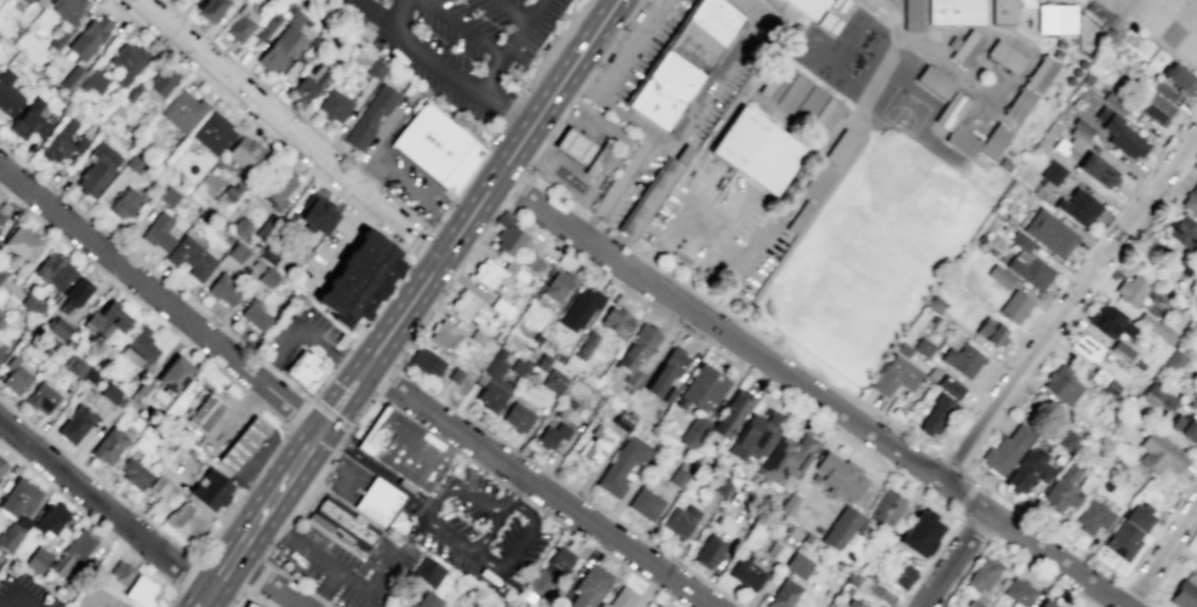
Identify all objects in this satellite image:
building: (28, 0)
building: (808, 6)
building: (65, 8)
road: (515, 8)
building: (210, 10)
building: (1096, 10)
building: (953, 11)
building: (1002, 11)
road: (363, 15)
building: (912, 15)
building: (292, 17)
building: (1055, 18)
building: (240, 24)
building: (267, 25)
road: (462, 28)
building: (89, 36)
parking lot: (456, 44)
road: (547, 44)
parking lot: (638, 45)
building: (297, 46)
road: (509, 46)
building: (965, 47)
building: (279, 48)
road: (631, 48)
building: (1004, 56)
building: (127, 59)
building: (683, 61)
building: (517, 68)
building: (375, 69)
road: (441, 69)
road: (718, 69)
parking lot: (724, 70)
building: (1041, 73)
building: (1179, 76)
building: (72, 78)
building: (95, 80)
building: (161, 81)
road: (256, 81)
building: (310, 81)
building: (775, 81)
building: (934, 81)
road: (235, 85)
road: (581, 86)
road: (582, 86)
building: (1162, 90)
building: (7, 93)
building: (791, 93)
building: (1112, 99)
road: (233, 104)
building: (334, 104)
building: (808, 104)
building: (1019, 104)
building: (1153, 108)
building: (182, 110)
road: (512, 110)
building: (950, 110)
building: (369, 116)
building: (825, 116)
building: (28, 120)
road: (632, 121)
building: (1082, 126)
road: (586, 127)
building: (212, 132)
building: (1119, 133)
road: (597, 134)
road: (1174, 137)
road: (381, 139)
building: (961, 141)
building: (992, 141)
building: (61, 142)
building: (1073, 142)
road: (551, 144)
building: (574, 144)
road: (574, 144)
building: (435, 147)
building: (839, 148)
road: (531, 149)
building: (757, 149)
road: (1113, 150)
building: (245, 153)
road: (586, 153)
building: (103, 155)
building: (598, 158)
road: (563, 161)
road: (611, 162)
building: (135, 164)
road: (575, 170)
building: (1096, 170)
road: (363, 172)
building: (1051, 172)
road: (1146, 172)
building: (93, 177)
road: (343, 177)
road: (467, 178)
building: (815, 182)
road: (406, 183)
parking lot: (628, 184)
building: (275, 185)
road: (619, 187)
parking lot: (412, 188)
road: (488, 188)
road: (515, 190)
building: (167, 195)
building: (651, 199)
building: (1190, 199)
building: (125, 202)
road: (401, 206)
building: (1077, 206)
road: (382, 210)
road: (580, 210)
road: (578, 212)
road: (519, 214)
building: (1, 217)
building: (317, 217)
road: (361, 217)
building: (797, 217)
road: (673, 218)
road: (450, 221)
building: (266, 227)
building: (240, 228)
building: (1184, 231)
building: (158, 233)
road: (713, 233)
building: (1049, 233)
building: (507, 234)
road: (343, 240)
road: (388, 241)
building: (1019, 241)
building: (22, 244)
road: (417, 244)
park: (877, 244)
road: (426, 247)
parking lot: (321, 248)
road: (131, 252)
building: (235, 252)
road: (751, 253)
road: (642, 254)
road: (112, 256)
building: (190, 257)
building: (531, 262)
building: (1, 270)
building: (53, 270)
building: (514, 270)
building: (1030, 271)
building: (486, 273)
building: (998, 275)
building: (267, 277)
building: (358, 279)
building: (557, 285)
building: (76, 290)
road: (125, 290)
building: (222, 290)
building: (1130, 290)
building: (463, 303)
building: (32, 304)
road: (375, 305)
road: (1066, 305)
building: (1014, 307)
building: (501, 308)
building: (578, 308)
building: (255, 316)
building: (617, 319)
building: (1, 321)
building: (106, 321)
building: (1108, 321)
road: (716, 327)
building: (1157, 327)
building: (58, 328)
building: (990, 331)
road: (301, 332)
building: (443, 334)
parking lot: (302, 337)
building: (475, 337)
building: (583, 344)
building: (922, 347)
building: (1087, 348)
building: (139, 349)
building: (902, 349)
building: (1121, 349)
building: (1, 351)
road: (232, 353)
building: (637, 353)
building: (962, 360)
road: (338, 362)
building: (542, 362)
building: (424, 363)
building: (1136, 365)
building: (518, 366)
building: (75, 367)
road: (269, 367)
building: (302, 367)
road: (348, 367)
building: (666, 368)
road: (266, 371)
building: (930, 372)
building: (173, 373)
building: (454, 374)
building: (16, 376)
building: (895, 376)
building: (1095, 376)
road: (383, 380)
building: (553, 380)
building: (492, 383)
building: (1061, 384)
building: (950, 385)
building: (142, 388)
building: (703, 388)
building: (1110, 389)
building: (109, 393)
road: (281, 393)
parking lot: (226, 394)
building: (668, 395)
building: (1157, 396)
building: (41, 397)
road: (307, 397)
building: (1193, 402)
building: (564, 407)
road: (246, 411)
road: (297, 411)
road: (332, 411)
building: (204, 412)
road: (329, 412)
building: (731, 412)
building: (935, 413)
building: (517, 417)
road: (232, 418)
building: (622, 420)
road: (260, 422)
building: (75, 423)
road: (236, 423)
road: (420, 425)
road: (34, 426)
building: (1185, 428)
building: (694, 431)
road: (92, 433)
road: (250, 434)
building: (553, 435)
building: (754, 435)
road: (269, 436)
building: (387, 437)
road: (342, 440)
building: (1065, 440)
road: (223, 441)
road: (979, 441)
building: (241, 443)
building: (593, 445)
building: (107, 446)
road: (337, 449)
building: (1005, 449)
road: (235, 452)
road: (936, 452)
building: (1158, 453)
road: (274, 454)
building: (786, 458)
road: (74, 460)
road: (334, 460)
road: (950, 462)
road: (226, 463)
building: (426, 463)
road: (337, 464)
building: (620, 464)
building: (2, 465)
road: (376, 466)
building: (1027, 470)
building: (133, 473)
road: (261, 474)
building: (838, 476)
building: (677, 477)
parking lot: (348, 480)
building: (720, 483)
road: (251, 485)
building: (158, 486)
road: (452, 486)
road: (540, 486)
building: (210, 488)
building: (1062, 488)
road: (512, 489)
road: (437, 492)
road: (509, 492)
road: (961, 496)
building: (19, 498)
road: (310, 498)
road: (965, 498)
road: (269, 503)
building: (644, 503)
building: (788, 503)
building: (381, 504)
road: (103, 505)
building: (884, 508)
building: (1091, 516)
building: (50, 519)
building: (187, 519)
building: (679, 520)
road: (96, 522)
building: (341, 522)
road: (270, 525)
building: (839, 527)
road: (973, 527)
road: (529, 528)
road: (281, 529)
parking lot: (439, 531)
building: (1128, 531)
building: (919, 533)
road: (215, 534)
road: (486, 534)
building: (10, 536)
building: (79, 545)
road: (466, 548)
road: (1002, 548)
building: (776, 550)
road: (603, 551)
building: (708, 551)
road: (1163, 556)
building: (38, 559)
road: (952, 559)
road: (1053, 560)
building: (61, 565)
building: (796, 565)
road: (1168, 565)
parking lot: (346, 566)
road: (275, 568)
building: (427, 571)
building: (549, 571)
building: (745, 572)
building: (896, 572)
building: (122, 573)
road: (187, 574)
road: (218, 575)
road: (260, 577)
building: (853, 577)
road: (346, 579)
road: (264, 582)
building: (979, 582)
building: (589, 586)
road: (246, 588)
building: (845, 589)
road: (1136, 589)
building: (141, 590)
road: (325, 590)
parking lot: (23, 591)
building: (1018, 591)
building: (782, 594)
road: (17, 595)
building: (1184, 595)
building: (884, 596)
road: (317, 597)
road: (203, 599)
building: (620, 599)
building: (427, 600)
building: (850, 603)
building: (1047, 603)
building: (250, 605)
gas station: (250, 605)
road: (292, 605)
road: (329, 605)
building: (656, 605)
road: (196, 606)
road: (199, 606)
road: (226, 606)
road: (272, 606)

